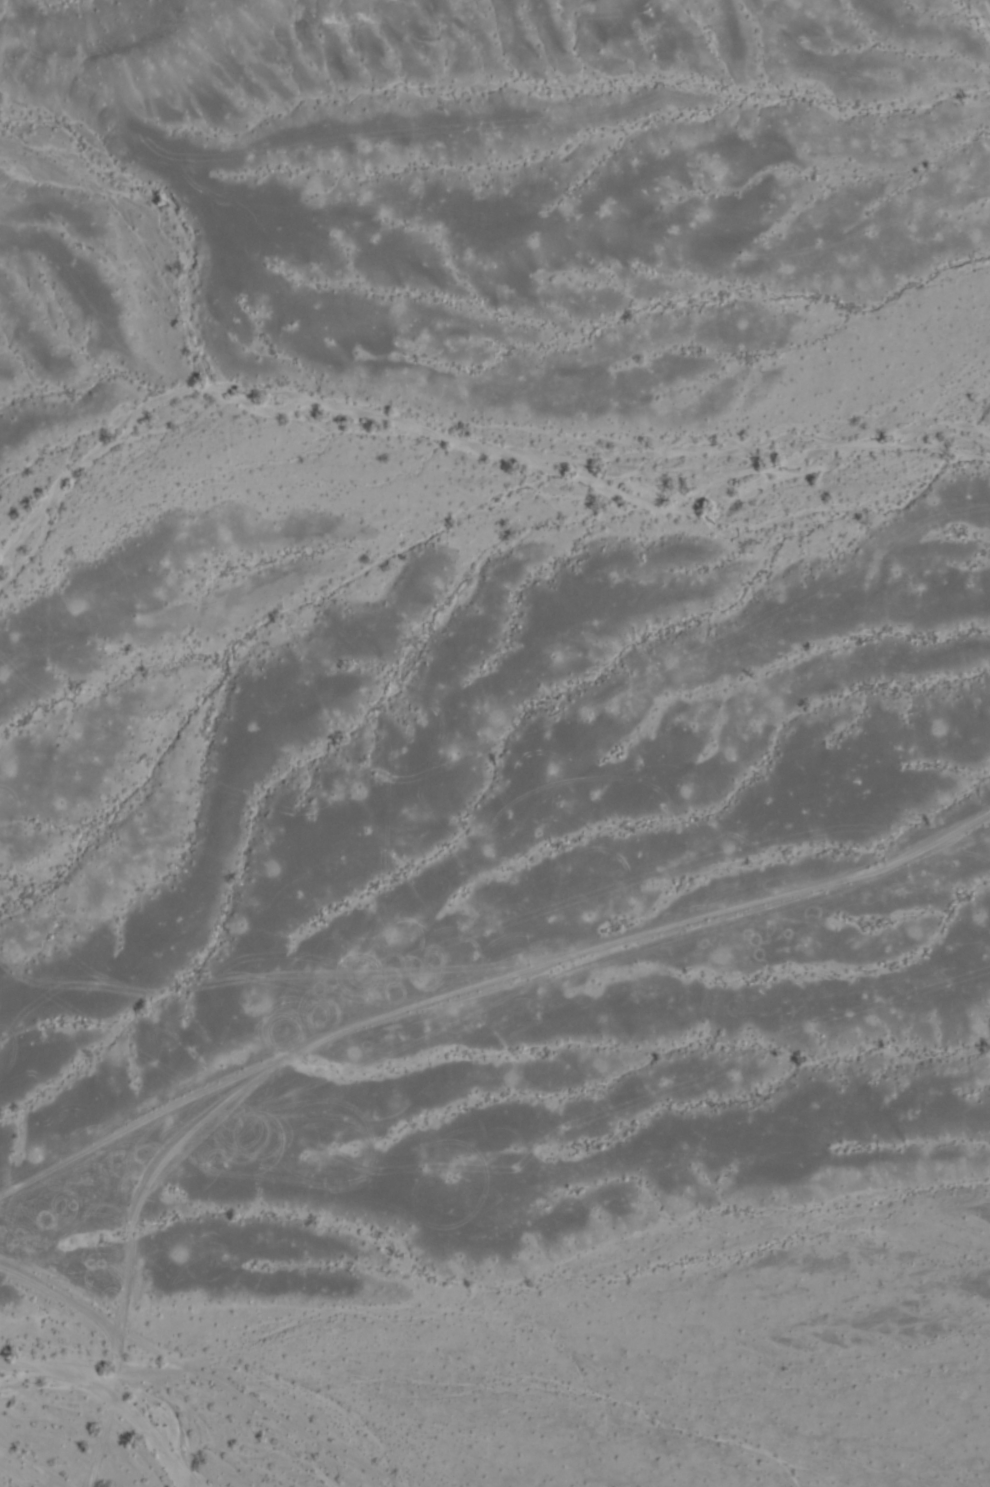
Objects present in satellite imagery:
road: (638, 942)
road: (141, 1129)
road: (163, 1169)

